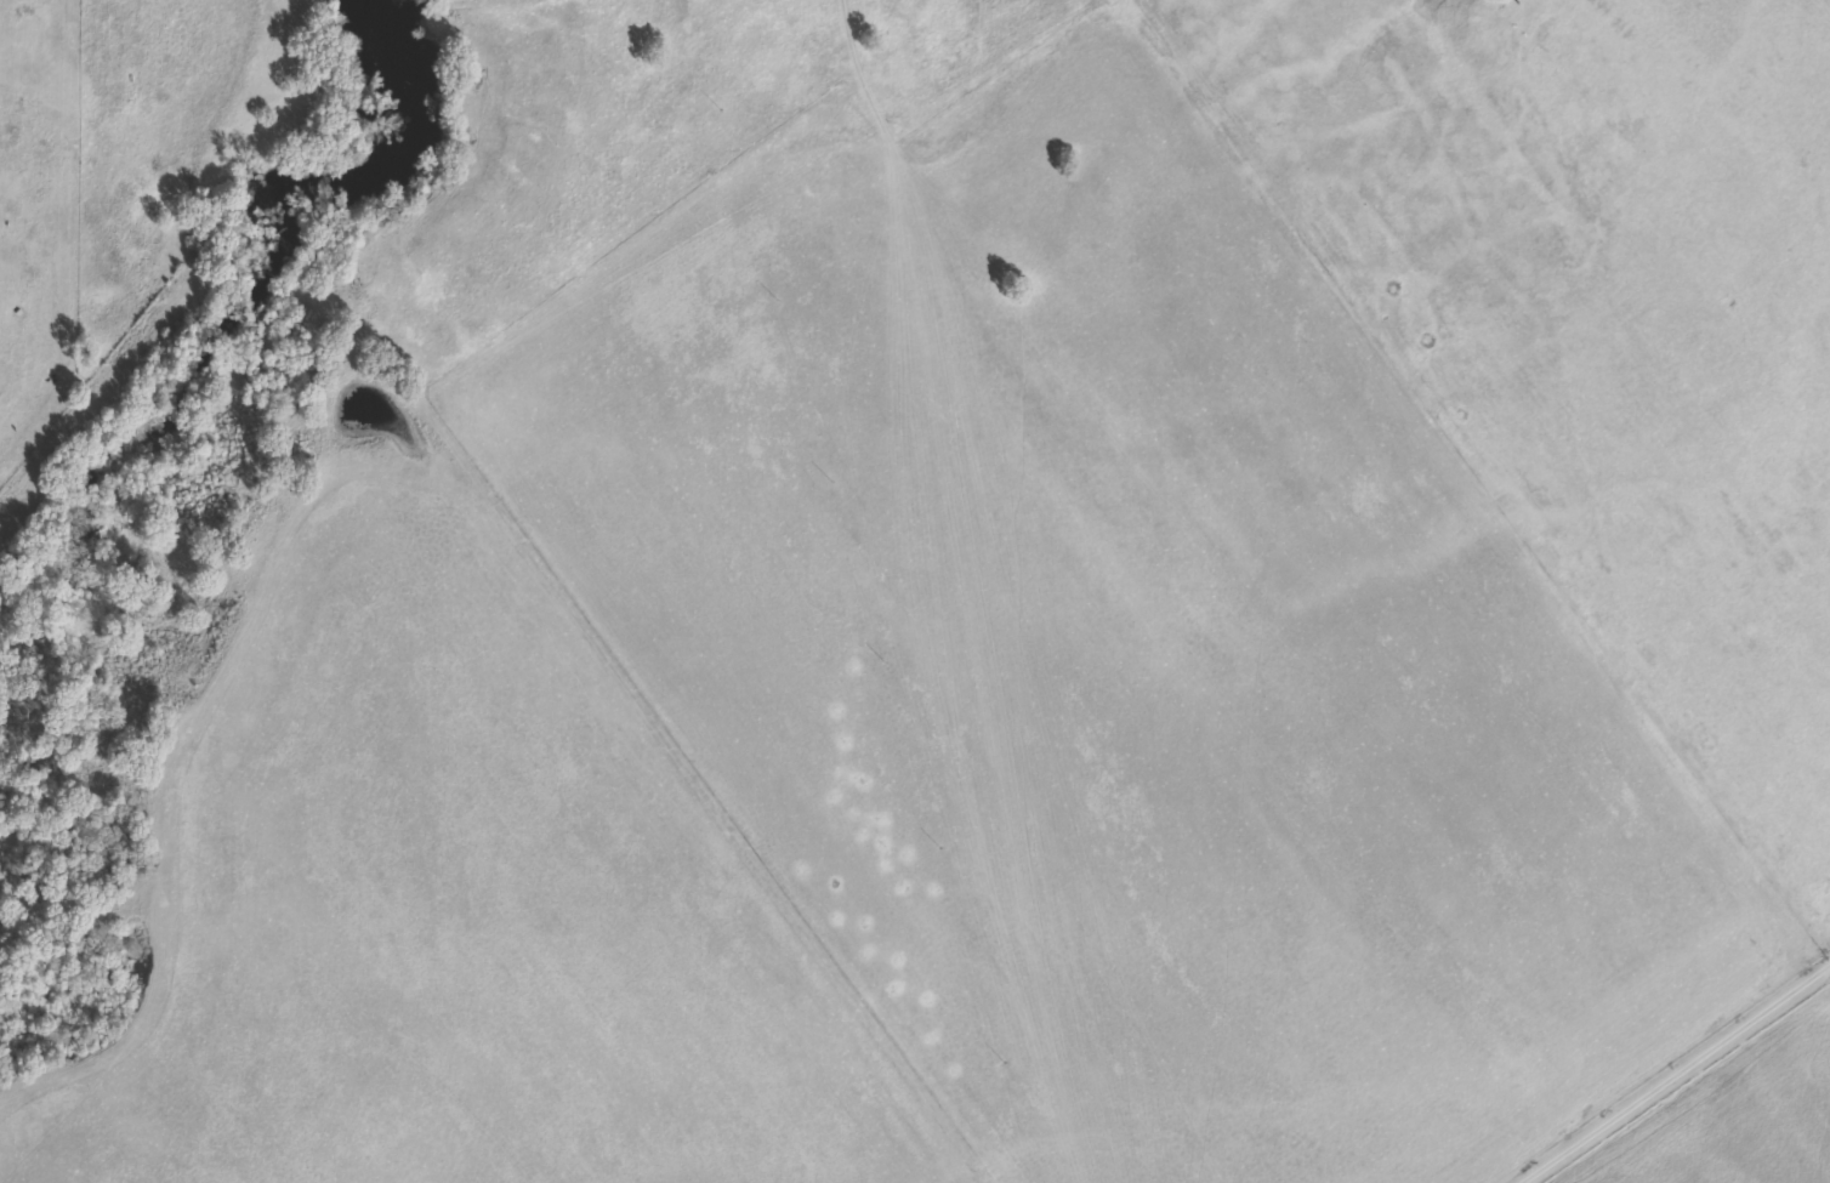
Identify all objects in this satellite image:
road: (1675, 1071)

